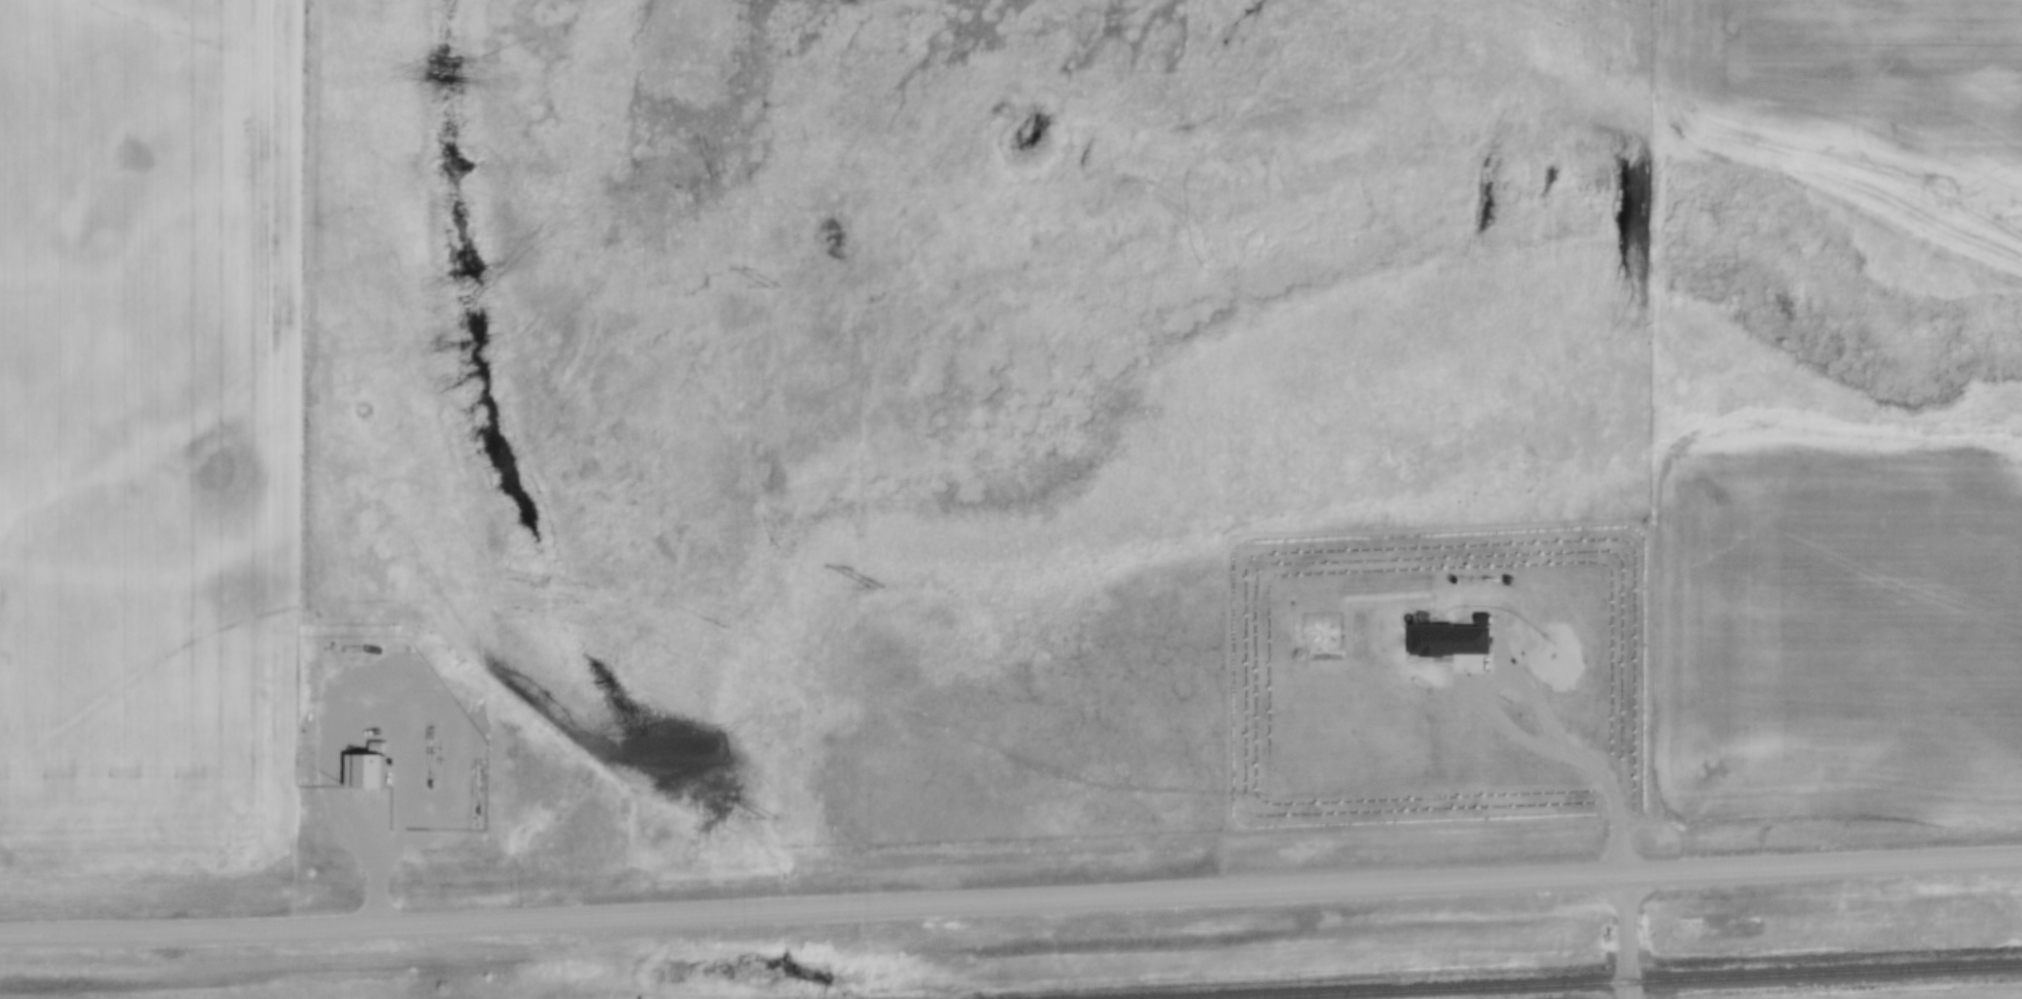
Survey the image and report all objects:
power tower: (768, 289)
building: (1504, 581)
power tower: (872, 589)
building: (1447, 639)
building: (1555, 664)
building: (361, 769)
power tower: (767, 821)
road: (1011, 896)
road: (1626, 935)
railway: (1824, 975)
railway: (1446, 991)

